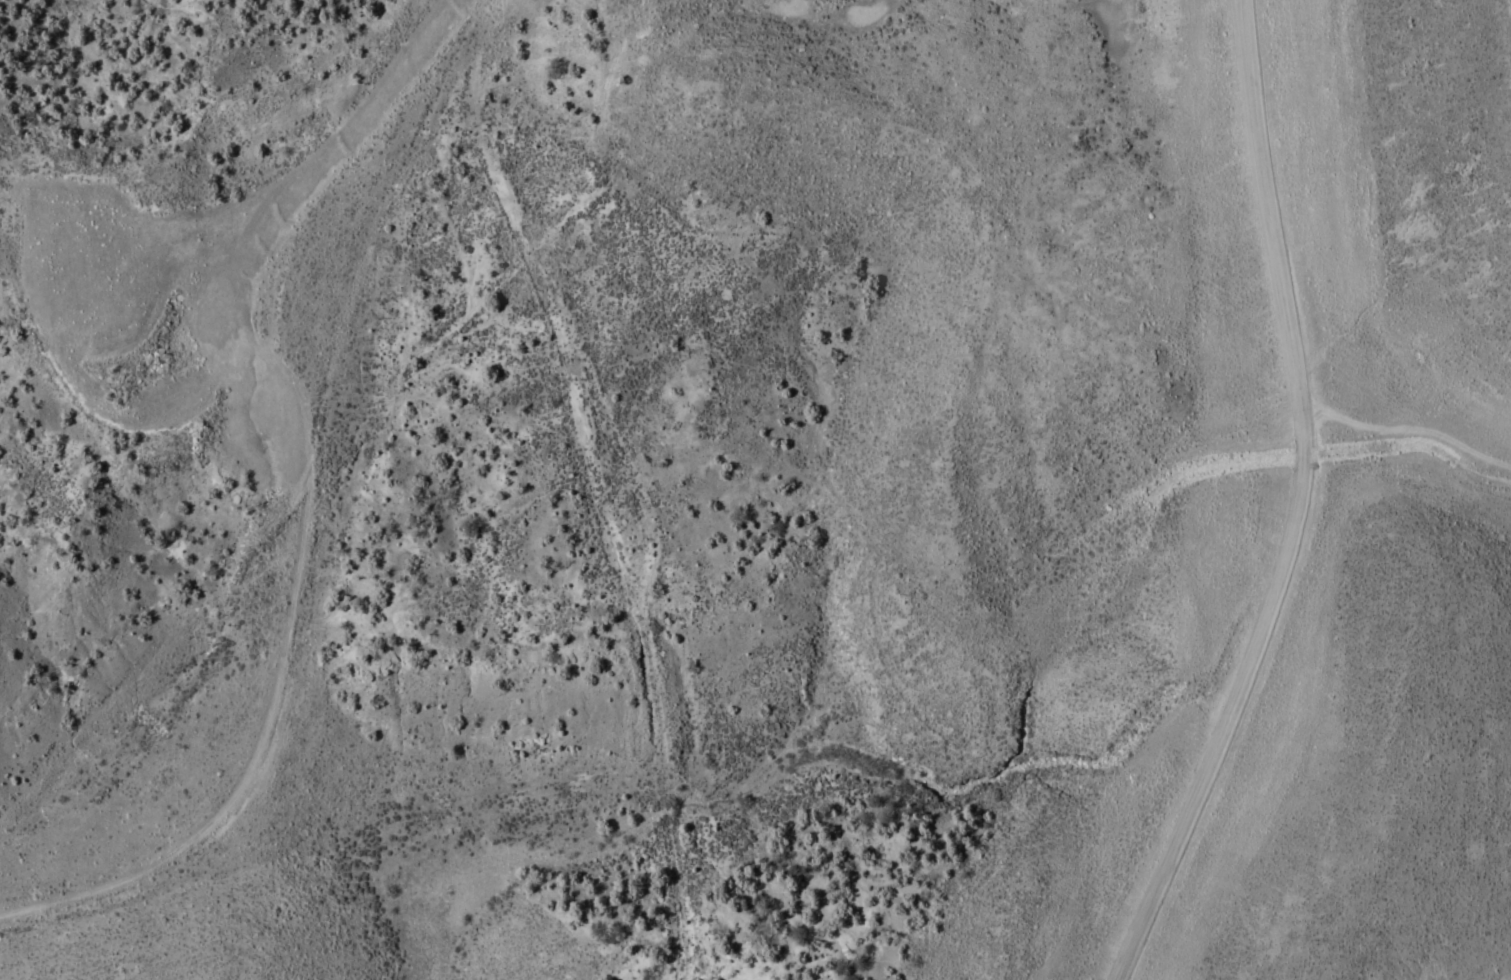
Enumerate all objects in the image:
road: (330, 156)
road: (1354, 367)
road: (1299, 506)
road: (275, 688)

